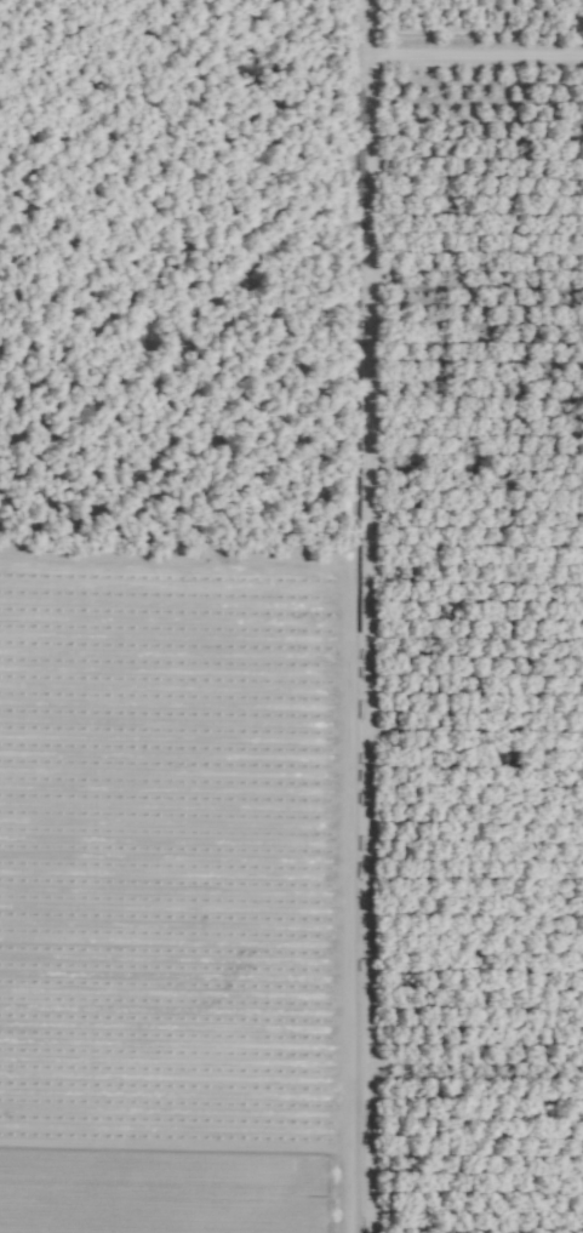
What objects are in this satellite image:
crop: (291, 616)
crop: (478, 1168)

